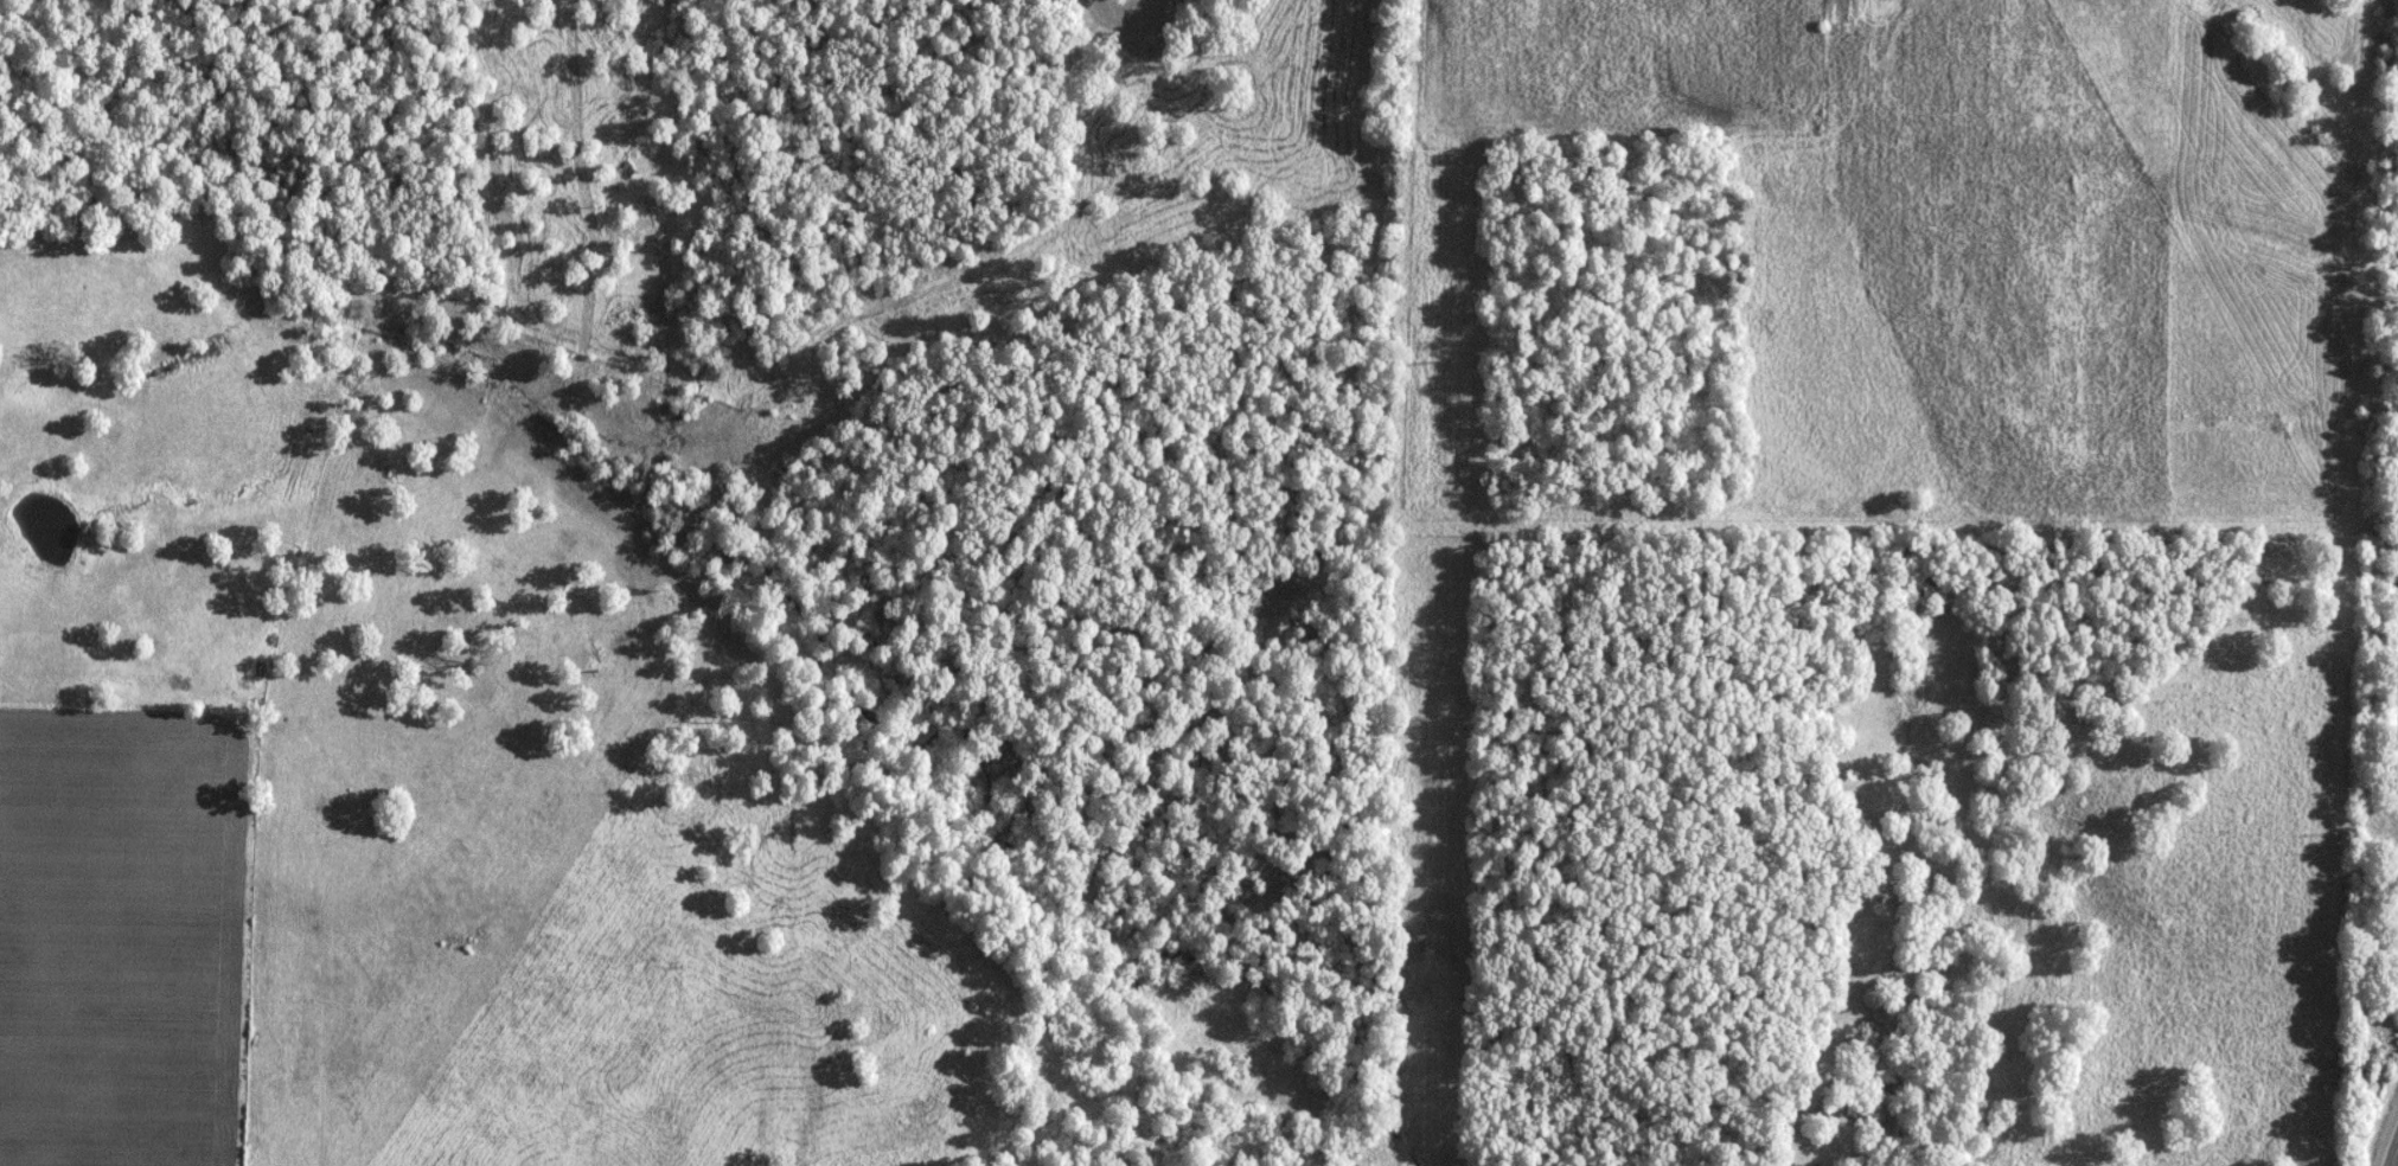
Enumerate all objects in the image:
road: (2397, 1161)

